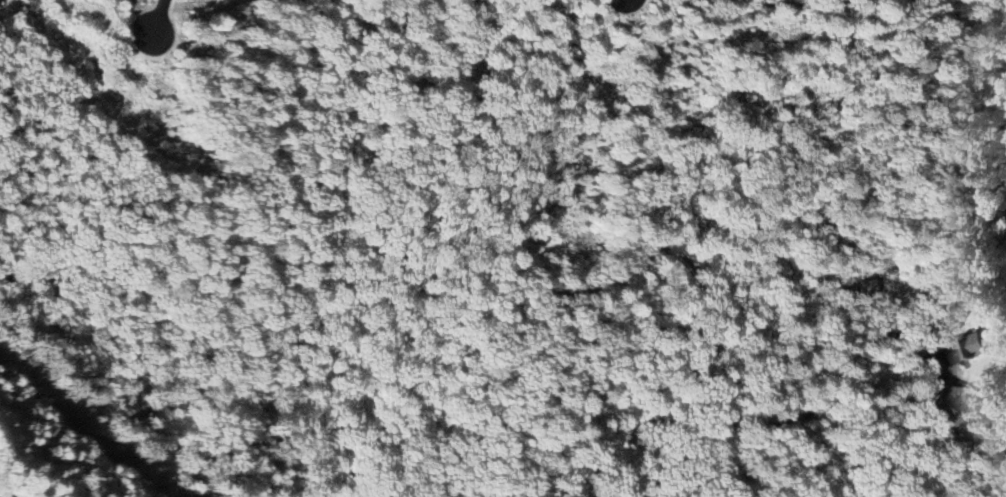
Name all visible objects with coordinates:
road: (155, 17)
road: (500, 69)
building: (966, 349)
road: (839, 384)

